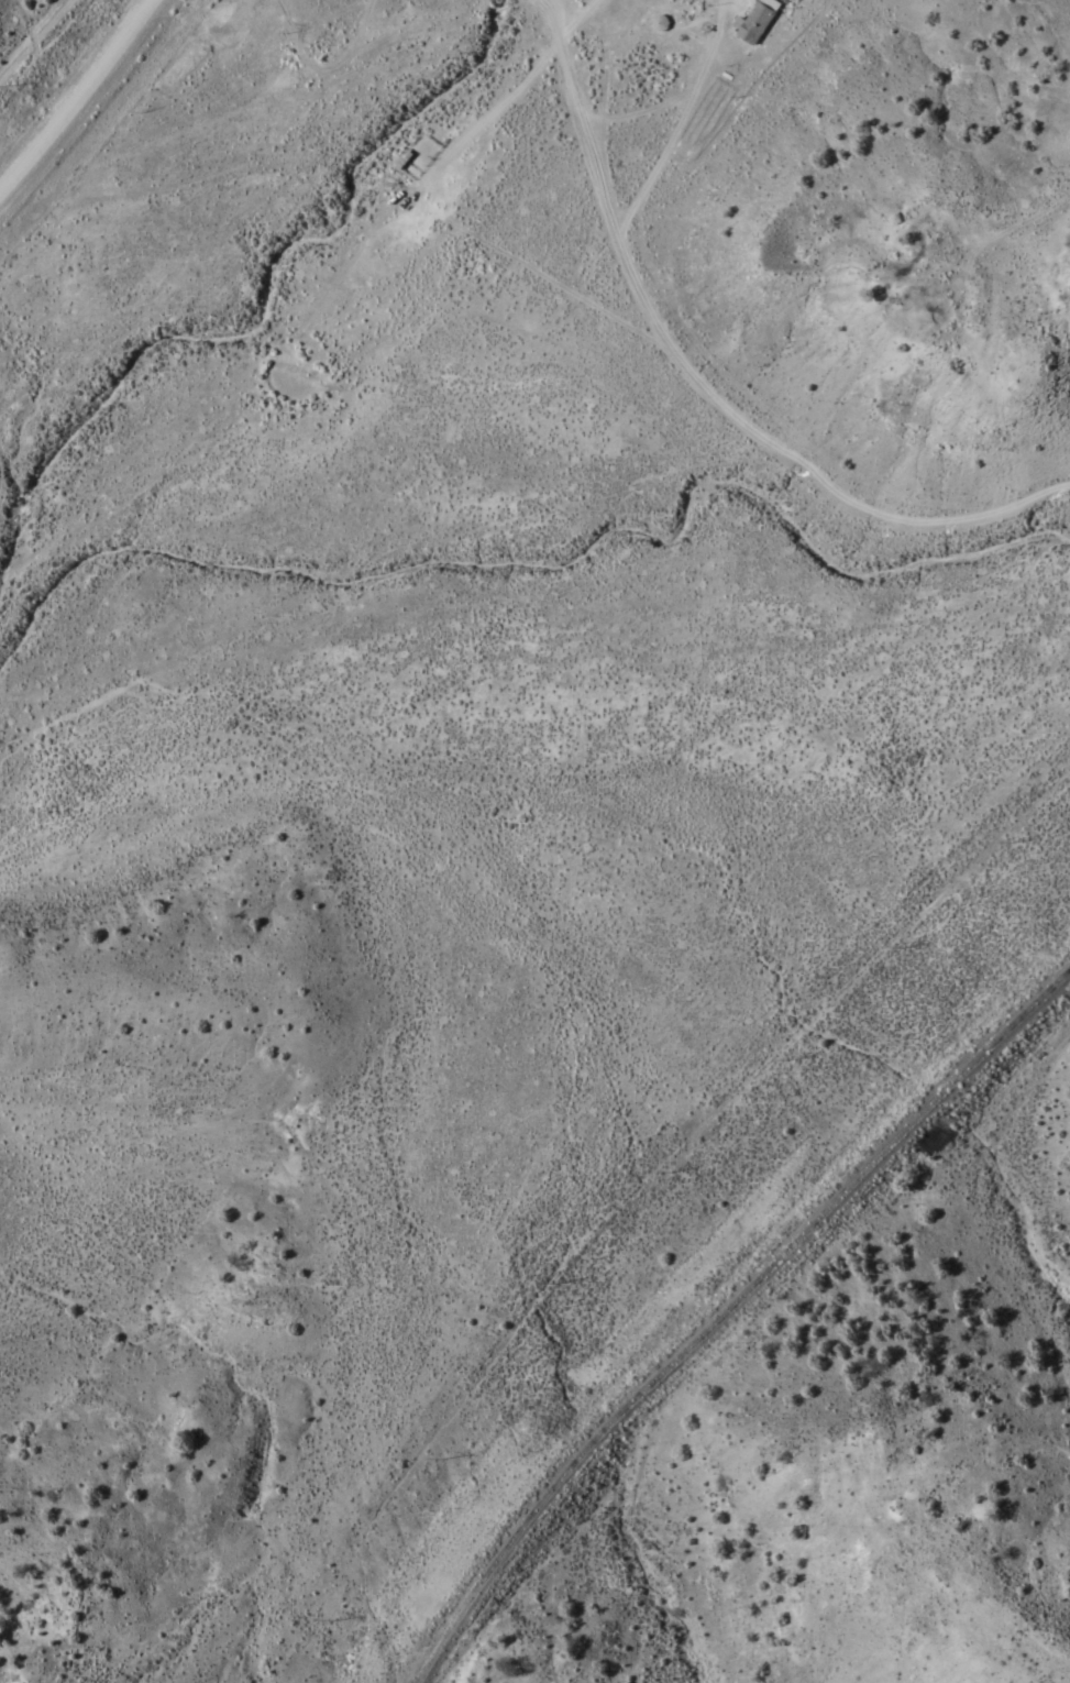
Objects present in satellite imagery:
building: (758, 23)
road: (76, 100)
road: (166, 108)
road: (672, 394)
railway: (726, 1313)

